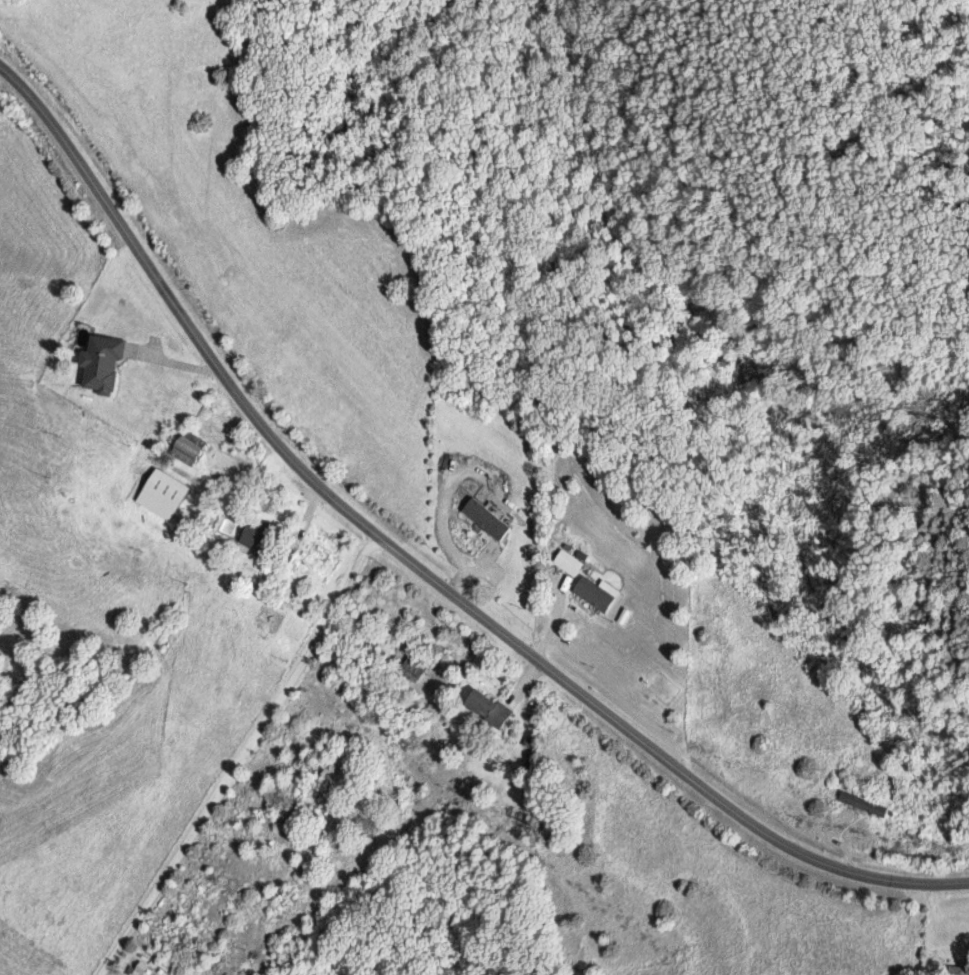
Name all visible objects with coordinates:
building: (105, 364)
building: (164, 493)
road: (302, 504)
building: (488, 518)
building: (259, 534)
road: (416, 557)
building: (572, 561)
building: (598, 592)
road: (550, 620)
building: (414, 666)
building: (488, 707)
road: (237, 751)
building: (865, 803)
road: (937, 906)

